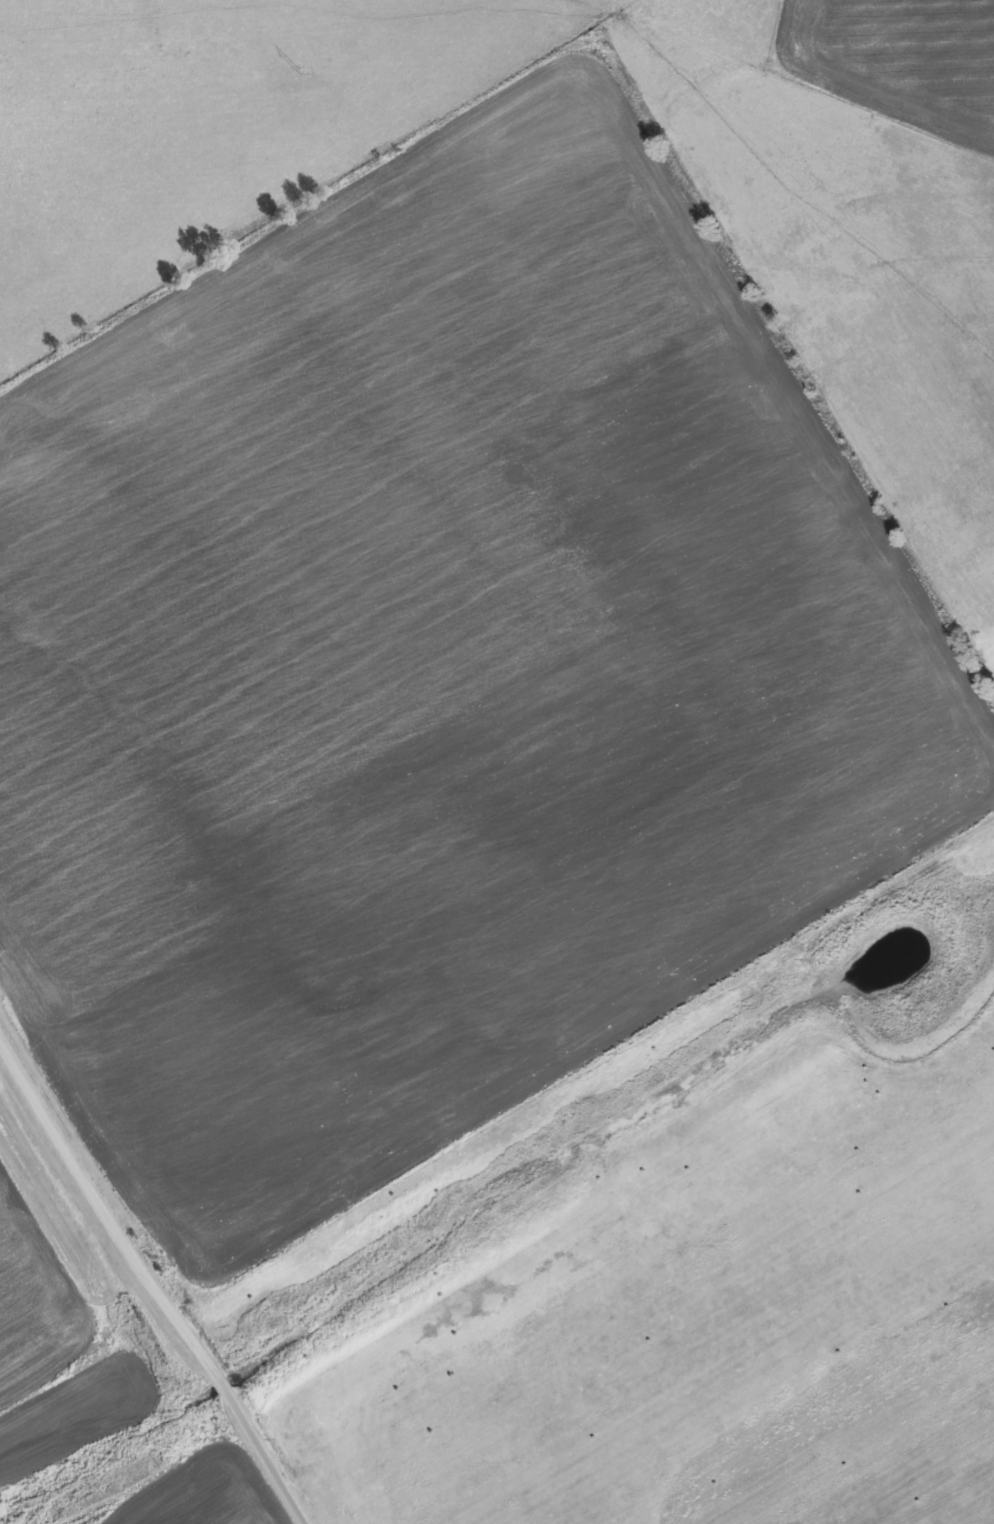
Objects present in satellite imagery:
power tower: (300, 68)
road: (150, 1280)

